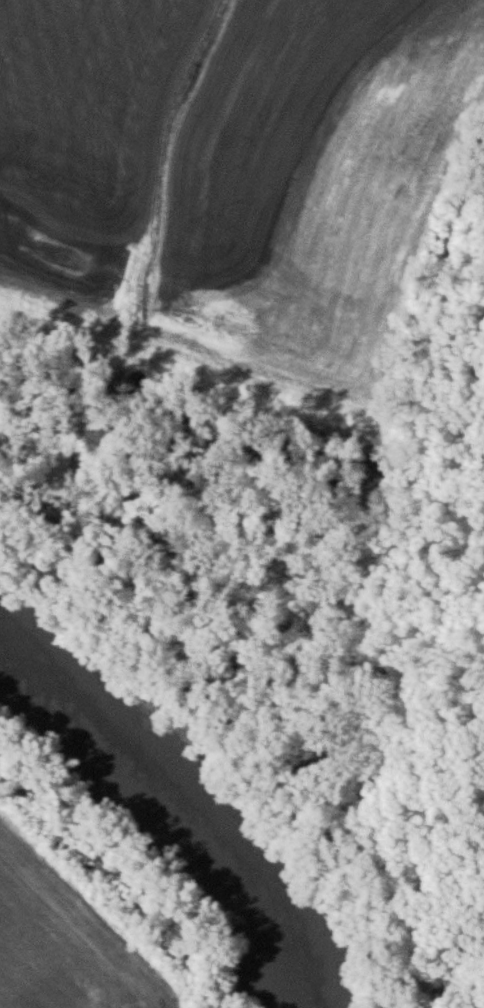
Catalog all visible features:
river: (175, 810)

